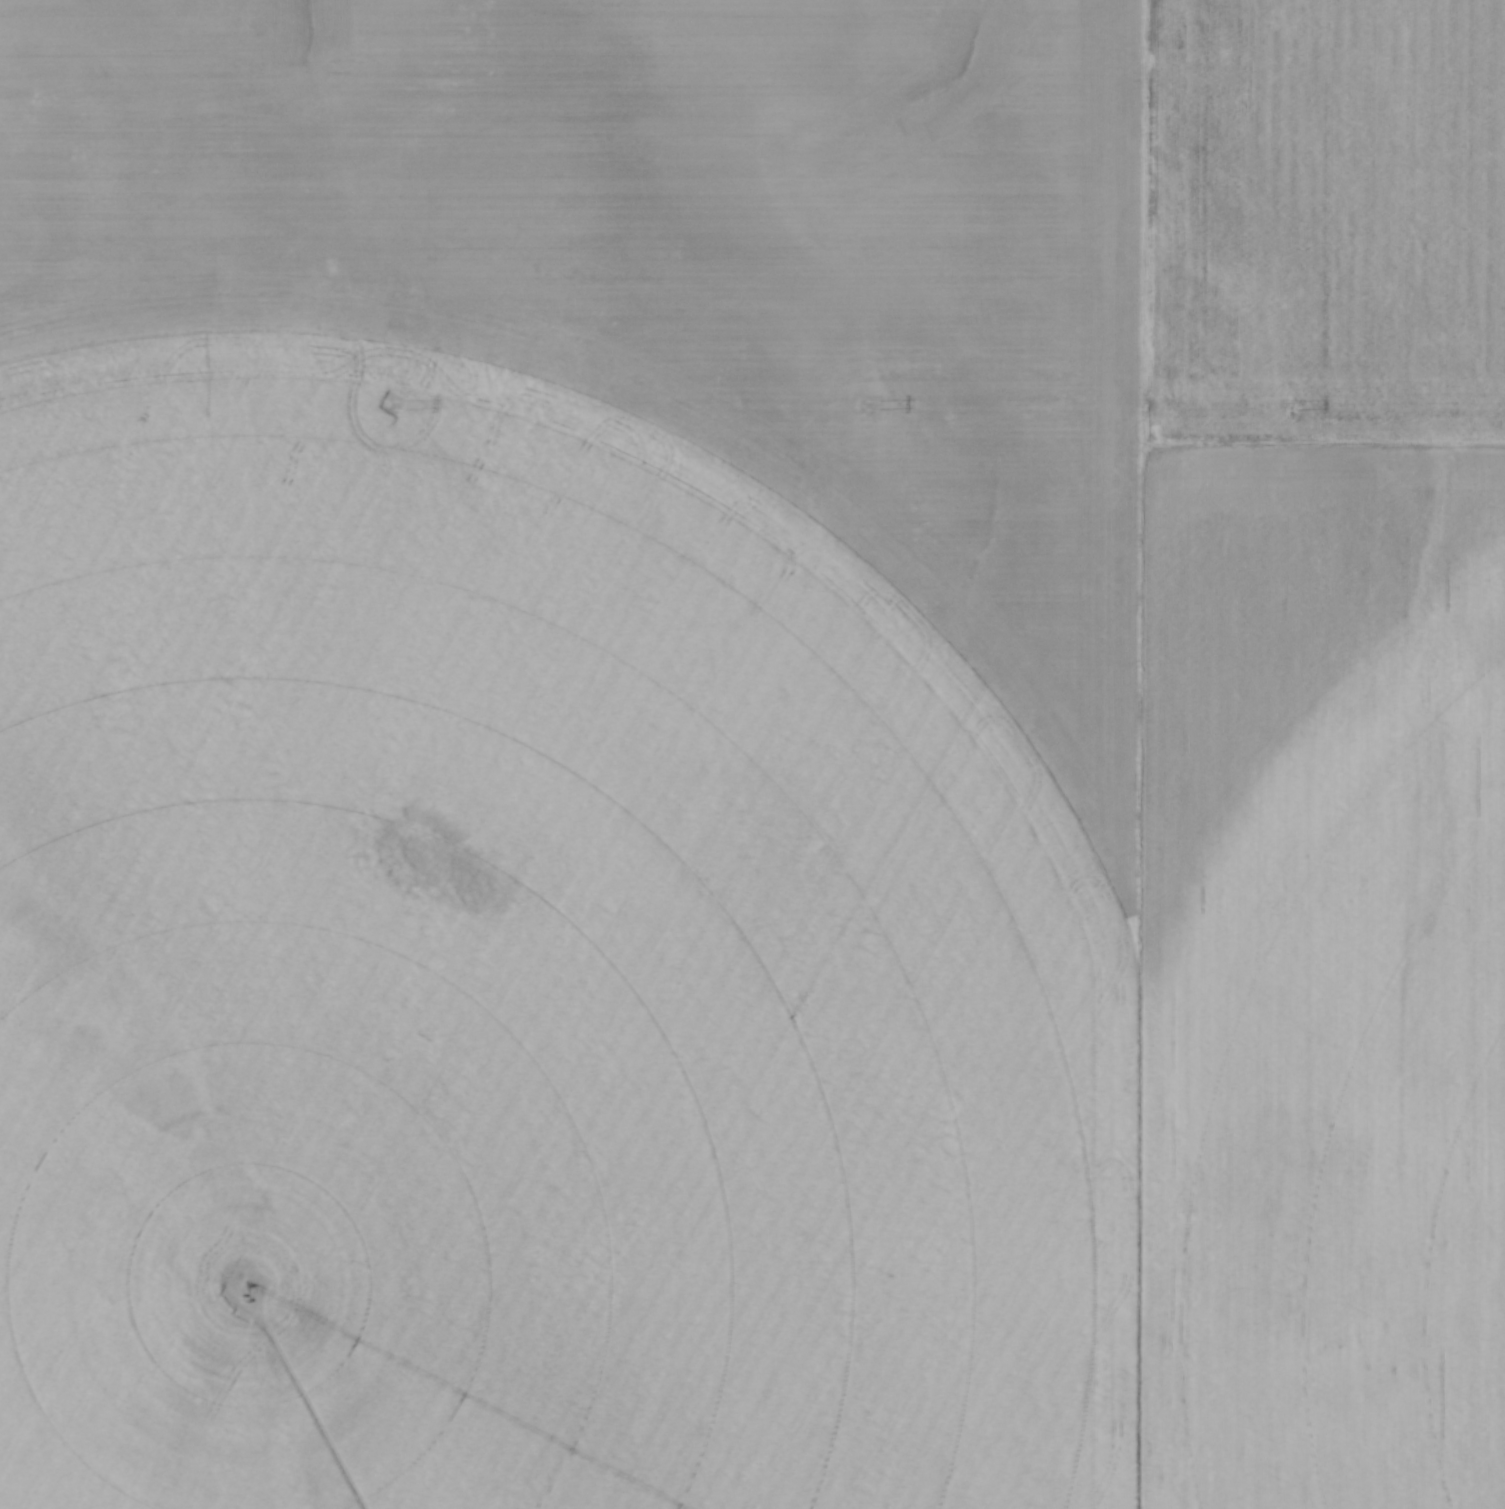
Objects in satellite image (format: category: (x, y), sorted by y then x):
power tower: (395, 402)
power tower: (868, 405)
power tower: (1286, 409)

